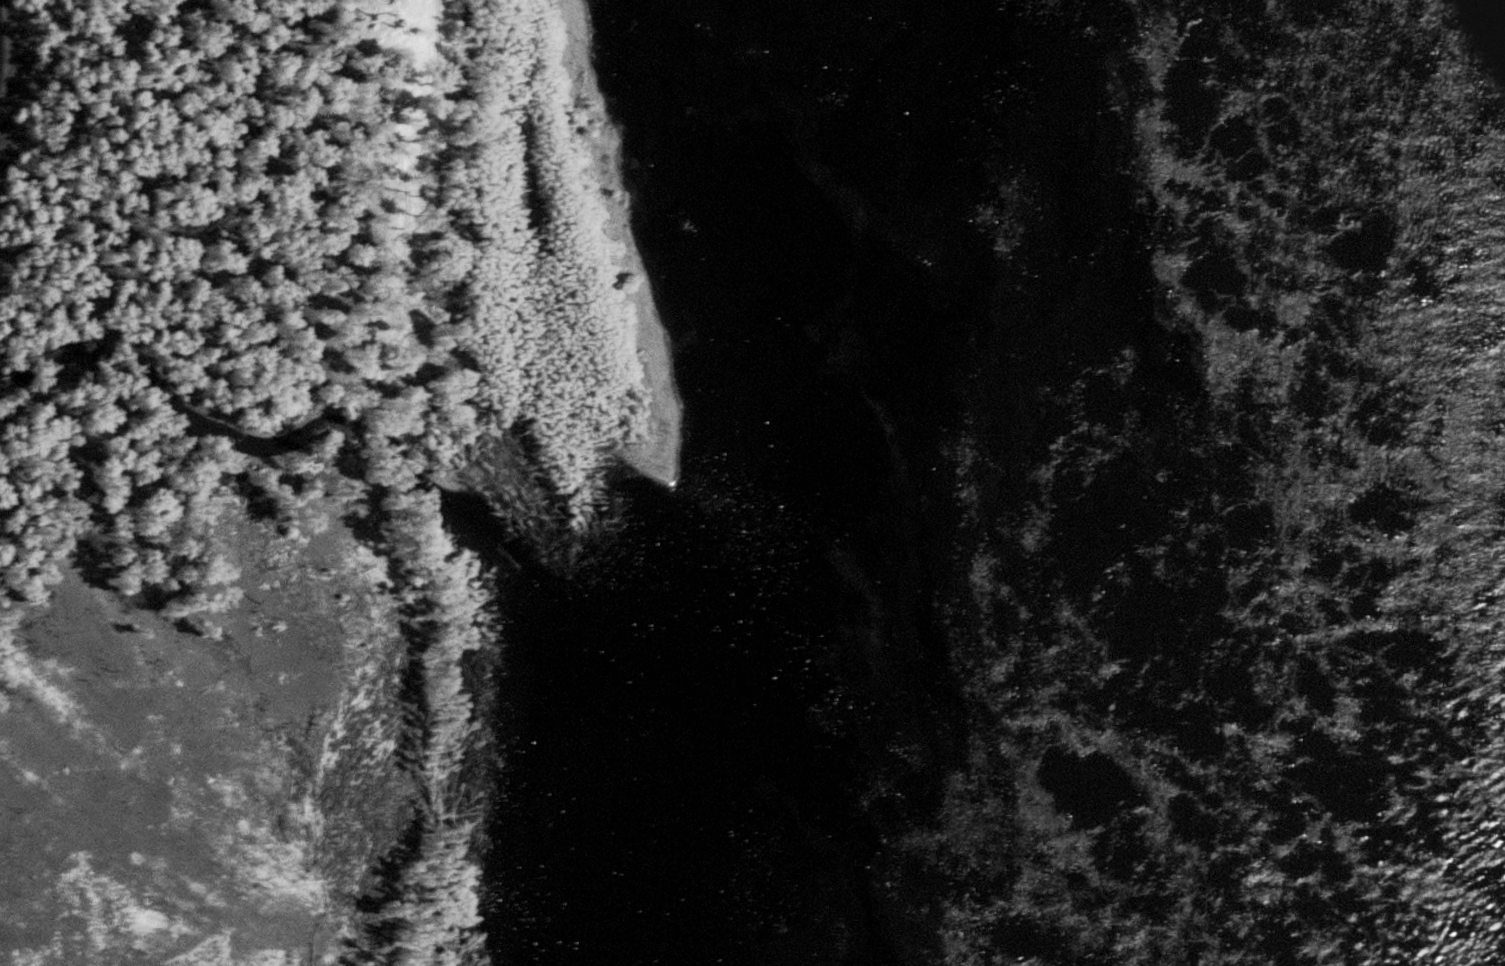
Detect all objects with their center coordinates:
river: (1228, 483)

